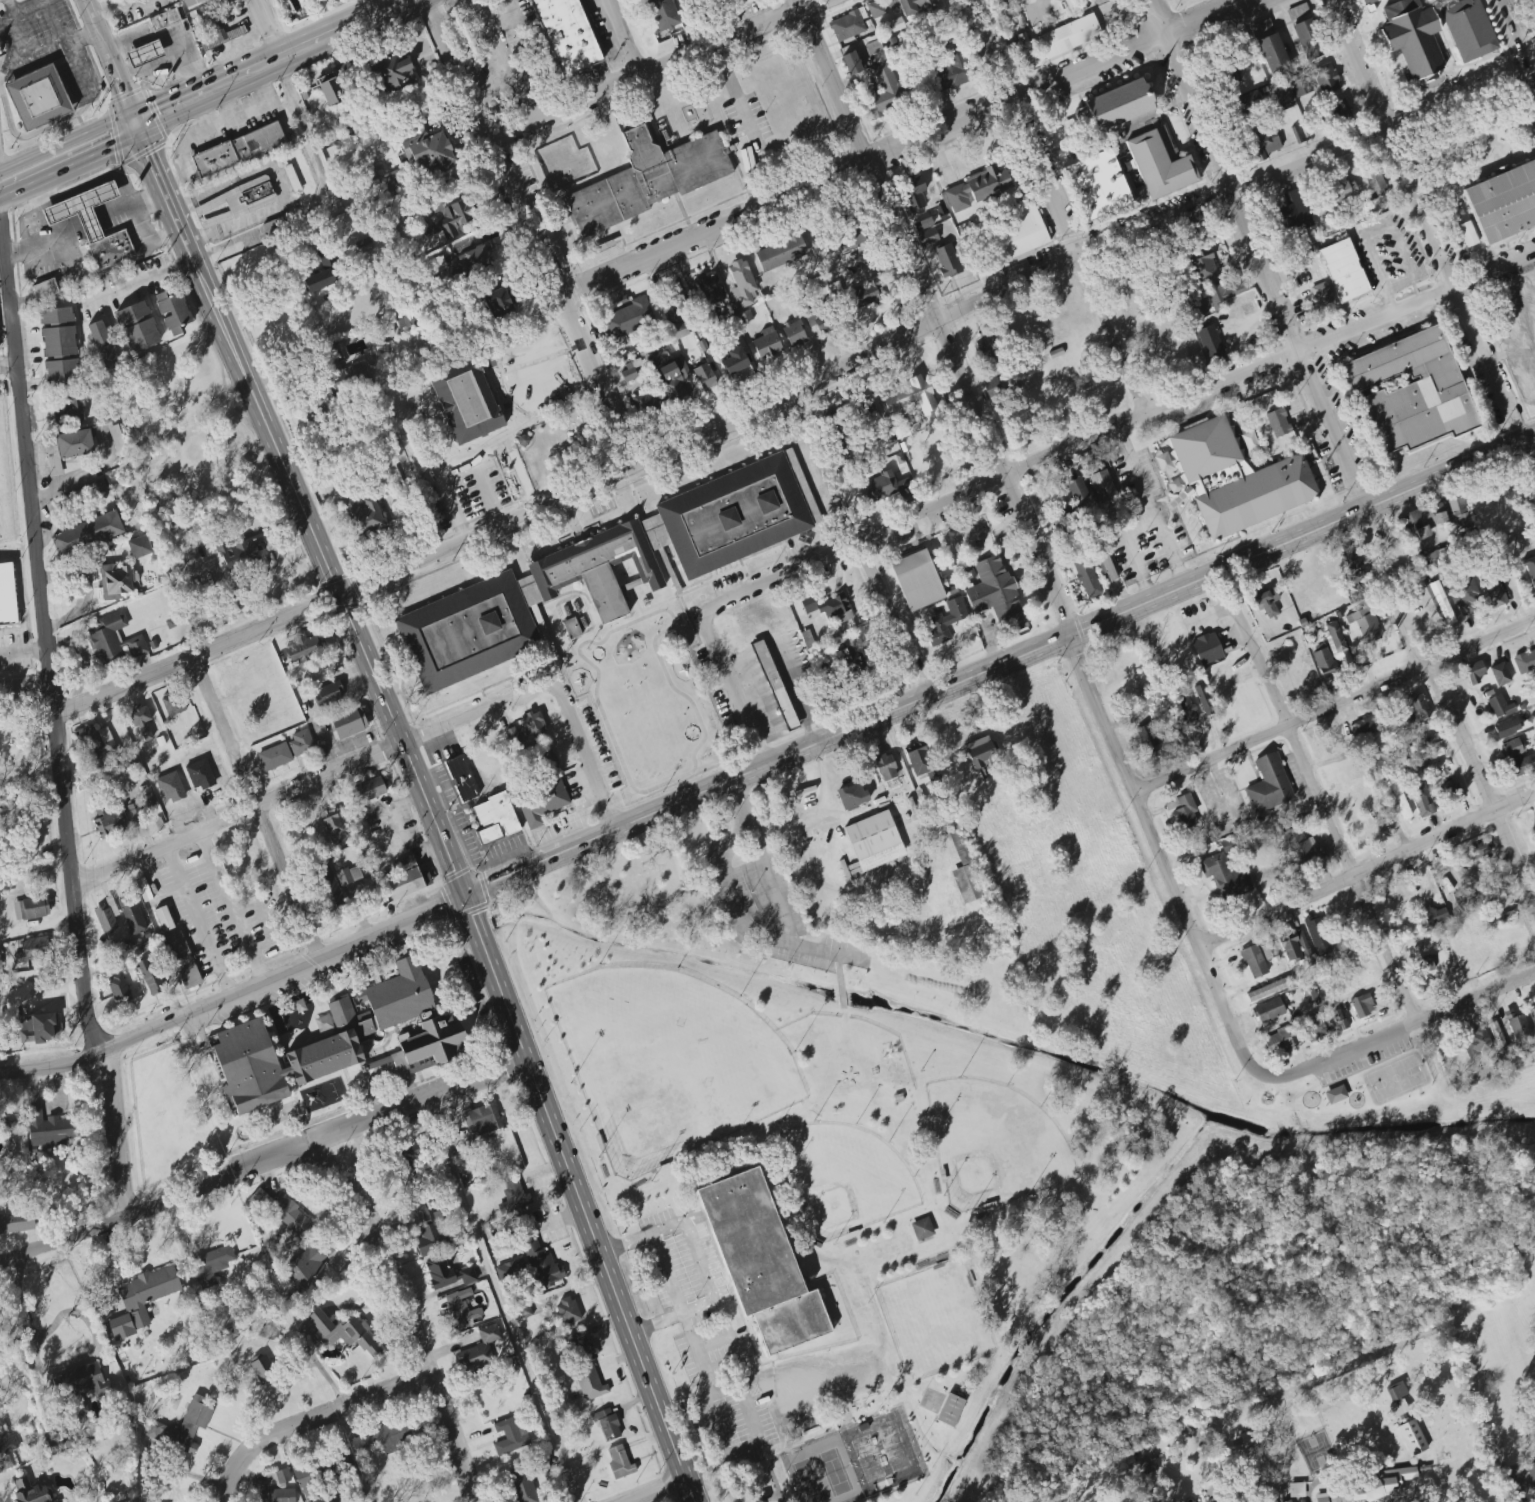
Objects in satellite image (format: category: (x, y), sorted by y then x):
building: (331, 0)
building: (708, 0)
building: (1365, 1)
building: (191, 2)
building: (690, 3)
building: (909, 5)
building: (876, 9)
road: (358, 11)
building: (661, 14)
building: (164, 19)
road: (264, 24)
building: (848, 25)
building: (1261, 28)
building: (1468, 29)
road: (165, 32)
building: (220, 33)
building: (565, 35)
building: (1070, 35)
road: (627, 37)
building: (1412, 37)
building: (1308, 38)
road: (1517, 42)
road: (491, 46)
building: (1024, 48)
building: (145, 54)
building: (1272, 54)
road: (108, 56)
building: (851, 63)
road: (151, 66)
road: (233, 68)
building: (954, 68)
road: (653, 69)
road: (281, 70)
building: (393, 71)
building: (1325, 78)
building: (330, 89)
traffic signals: (123, 90)
road: (734, 91)
building: (889, 91)
building: (37, 97)
building: (1285, 99)
building: (1247, 102)
traffic signals: (155, 103)
road: (232, 105)
building: (1123, 107)
building: (1341, 110)
road: (202, 119)
road: (137, 124)
road: (302, 129)
road: (209, 130)
road: (66, 141)
building: (258, 141)
building: (1264, 146)
road: (906, 147)
traffic signals: (113, 148)
traffic signals: (149, 155)
building: (213, 159)
building: (1159, 161)
road: (71, 167)
building: (649, 178)
building: (292, 179)
building: (392, 182)
building: (988, 182)
building: (1374, 184)
road: (277, 185)
building: (1097, 186)
building: (1343, 193)
building: (913, 194)
building: (957, 197)
road: (148, 199)
building: (237, 201)
building: (1503, 202)
road: (1056, 208)
building: (1294, 211)
building: (453, 219)
building: (92, 224)
building: (923, 224)
building: (274, 227)
building: (1022, 228)
road: (263, 229)
road: (145, 230)
road: (533, 231)
road: (44, 232)
building: (1467, 234)
road: (165, 236)
building: (928, 237)
building: (851, 239)
building: (364, 246)
road: (1433, 247)
building: (780, 252)
road: (1254, 254)
building: (474, 259)
building: (947, 261)
building: (436, 265)
building: (1202, 267)
building: (1344, 271)
building: (323, 274)
road: (136, 280)
building: (741, 283)
building: (44, 289)
building: (711, 291)
building: (1225, 293)
building: (867, 295)
building: (1322, 297)
building: (675, 302)
building: (498, 304)
building: (1201, 309)
building: (172, 311)
road: (939, 316)
building: (1519, 316)
building: (744, 317)
building: (629, 318)
building: (677, 318)
building: (408, 320)
building: (822, 320)
building: (137, 326)
building: (794, 334)
building: (103, 343)
building: (1210, 343)
building: (58, 344)
building: (767, 345)
building: (988, 353)
building: (736, 365)
road: (7, 369)
building: (629, 372)
building: (351, 377)
building: (674, 377)
building: (704, 377)
building: (1526, 381)
building: (992, 387)
building: (1412, 391)
road: (793, 392)
building: (911, 398)
building: (466, 401)
building: (645, 403)
road: (734, 406)
building: (71, 414)
building: (1276, 422)
road: (1115, 427)
building: (118, 441)
building: (66, 447)
road: (455, 470)
road: (813, 473)
road: (80, 476)
building: (1233, 478)
building: (1102, 485)
building: (882, 487)
building: (1076, 489)
road: (1149, 506)
building: (1458, 512)
building: (738, 514)
building: (363, 515)
building: (1425, 519)
road: (1181, 524)
building: (87, 534)
building: (138, 547)
road: (1130, 551)
building: (243, 556)
building: (1351, 557)
building: (1438, 557)
building: (1108, 567)
building: (1529, 568)
building: (1356, 577)
building: (1087, 578)
building: (916, 579)
building: (116, 581)
road: (1385, 590)
building: (1493, 593)
building: (995, 595)
building: (7, 596)
building: (1464, 596)
building: (1440, 603)
building: (522, 605)
building: (829, 608)
road: (1209, 615)
road: (890, 619)
building: (946, 620)
building: (1364, 625)
building: (572, 628)
building: (114, 639)
road: (1049, 645)
building: (304, 646)
building: (1338, 647)
building: (1207, 649)
road: (22, 652)
building: (1524, 661)
building: (851, 662)
building: (1324, 662)
building: (1473, 671)
building: (1499, 674)
building: (1295, 682)
building: (775, 685)
road: (23, 687)
building: (1229, 687)
road: (733, 690)
building: (328, 694)
building: (1203, 700)
building: (173, 703)
road: (1332, 705)
building: (1498, 706)
building: (1418, 708)
building: (1188, 710)
building: (141, 721)
building: (348, 722)
road: (52, 725)
building: (1363, 727)
building: (1505, 727)
building: (526, 730)
building: (1147, 739)
building: (89, 740)
building: (301, 742)
building: (108, 743)
building: (1511, 748)
road: (584, 754)
building: (980, 754)
building: (274, 756)
building: (1385, 757)
building: (550, 760)
building: (920, 761)
road: (1325, 762)
building: (1523, 766)
building: (886, 768)
parking lot: (1295, 775)
road: (1258, 777)
building: (461, 779)
road: (313, 783)
road: (1482, 784)
building: (1270, 786)
building: (1406, 788)
building: (366, 791)
building: (1453, 793)
road: (739, 795)
building: (851, 795)
road: (1317, 795)
building: (1399, 798)
parking lot: (1223, 800)
building: (1359, 800)
building: (1422, 801)
building: (542, 804)
road: (254, 810)
road: (1228, 811)
building: (135, 812)
building: (1185, 812)
road: (432, 813)
building: (495, 818)
road: (814, 819)
building: (110, 820)
building: (333, 827)
building: (1534, 829)
building: (873, 843)
building: (1300, 848)
building: (1476, 855)
road: (1159, 863)
building: (964, 868)
road: (1364, 870)
road: (514, 873)
building: (1268, 874)
building: (349, 876)
road: (765, 876)
building: (1224, 877)
road: (154, 884)
building: (328, 887)
road: (730, 890)
traffic signals: (464, 894)
parking lot: (767, 898)
building: (1463, 900)
building: (31, 908)
road: (231, 908)
building: (131, 914)
building: (1434, 915)
building: (107, 916)
building: (164, 919)
building: (1501, 919)
road: (197, 922)
road: (37, 926)
building: (1320, 935)
building: (1295, 947)
building: (34, 950)
road: (829, 952)
building: (1269, 952)
building: (182, 960)
street lamp: (597, 961)
building: (1253, 962)
building: (1422, 966)
street lamp: (674, 967)
building: (150, 976)
road: (840, 982)
street lamp: (738, 988)
building: (119, 990)
building: (1268, 990)
road: (235, 994)
building: (1309, 994)
building: (297, 1006)
building: (1361, 1008)
building: (1533, 1009)
building: (1269, 1012)
building: (1313, 1027)
road: (1401, 1027)
building: (1518, 1027)
building: (37, 1028)
building: (241, 1037)
building: (1498, 1039)
building: (1278, 1042)
building: (1477, 1042)
street lamp: (793, 1049)
park: (667, 1063)
street lamp: (959, 1076)
street lamp: (1006, 1084)
building: (1335, 1095)
street lamp: (1040, 1106)
building: (482, 1120)
street lamp: (813, 1120)
street lamp: (855, 1123)
building: (47, 1130)
street lamp: (1068, 1141)
street lamp: (889, 1142)
park: (993, 1143)
building: (32, 1151)
building: (410, 1159)
road: (262, 1161)
street lamp: (914, 1175)
park: (846, 1179)
street lamp: (1027, 1197)
building: (514, 1198)
building: (284, 1212)
building: (16, 1223)
building: (922, 1229)
building: (438, 1252)
parking lot: (679, 1256)
road: (700, 1262)
building: (759, 1262)
building: (210, 1265)
building: (541, 1265)
building: (511, 1271)
building: (141, 1301)
road: (500, 1303)
building: (460, 1311)
building: (525, 1311)
building: (567, 1312)
road: (681, 1313)
road: (409, 1316)
road: (50, 1327)
building: (269, 1331)
building: (342, 1333)
parking lot: (710, 1346)
road: (733, 1346)
building: (581, 1347)
building: (480, 1349)
building: (262, 1369)
road: (754, 1377)
building: (82, 1381)
building: (590, 1384)
building: (1397, 1397)
road: (333, 1408)
building: (950, 1410)
building: (608, 1424)
building: (182, 1428)
building: (511, 1436)
building: (385, 1437)
building: (1248, 1438)
building: (1412, 1438)
road: (742, 1450)
park: (880, 1454)
building: (619, 1462)
building: (1147, 1467)
building: (1531, 1468)
park: (821, 1473)
road: (227, 1476)
building: (307, 1483)
building: (277, 1487)
building: (1371, 1487)
building: (523, 1488)
road: (655, 1489)
building: (1296, 1490)
building: (30, 1491)
building: (1288, 1501)

